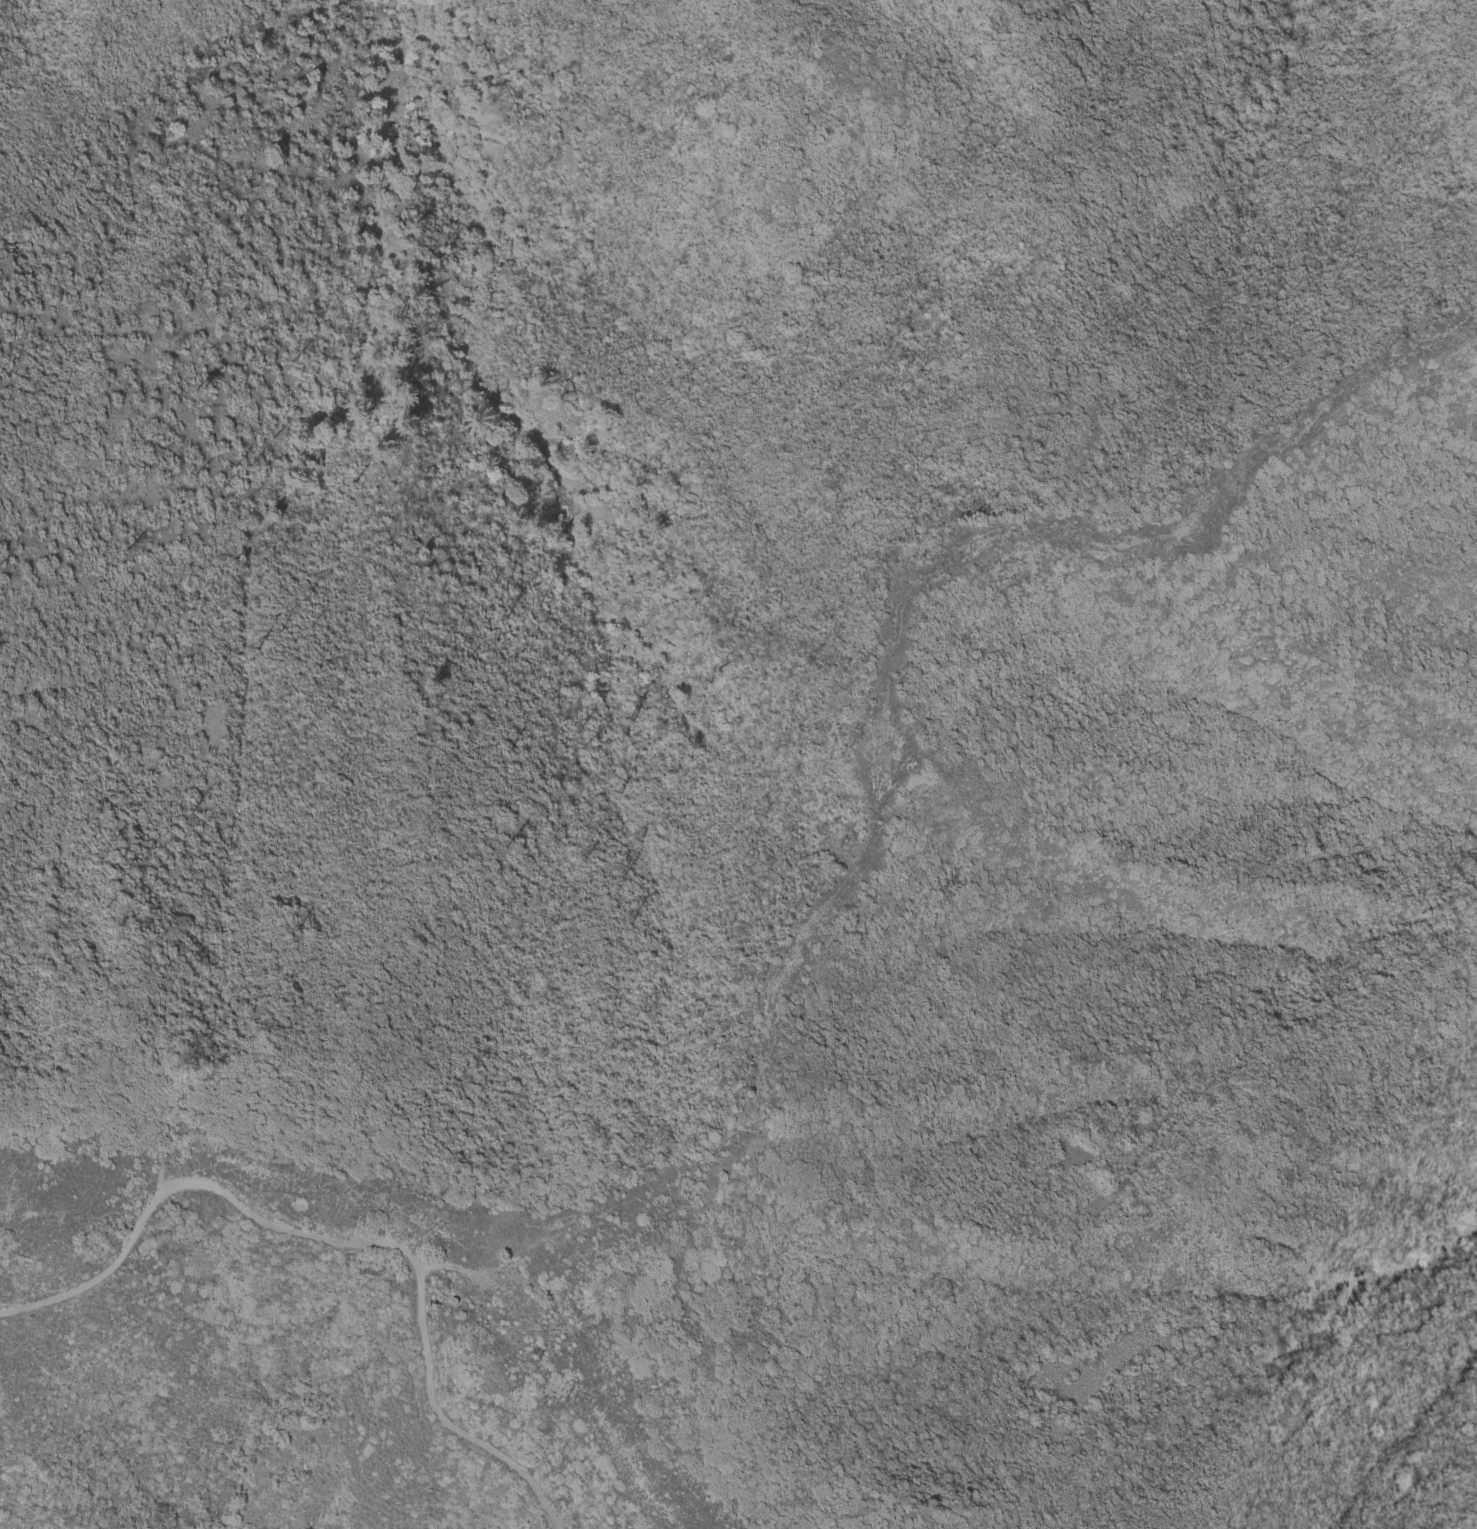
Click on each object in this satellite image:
road: (343, 1240)

